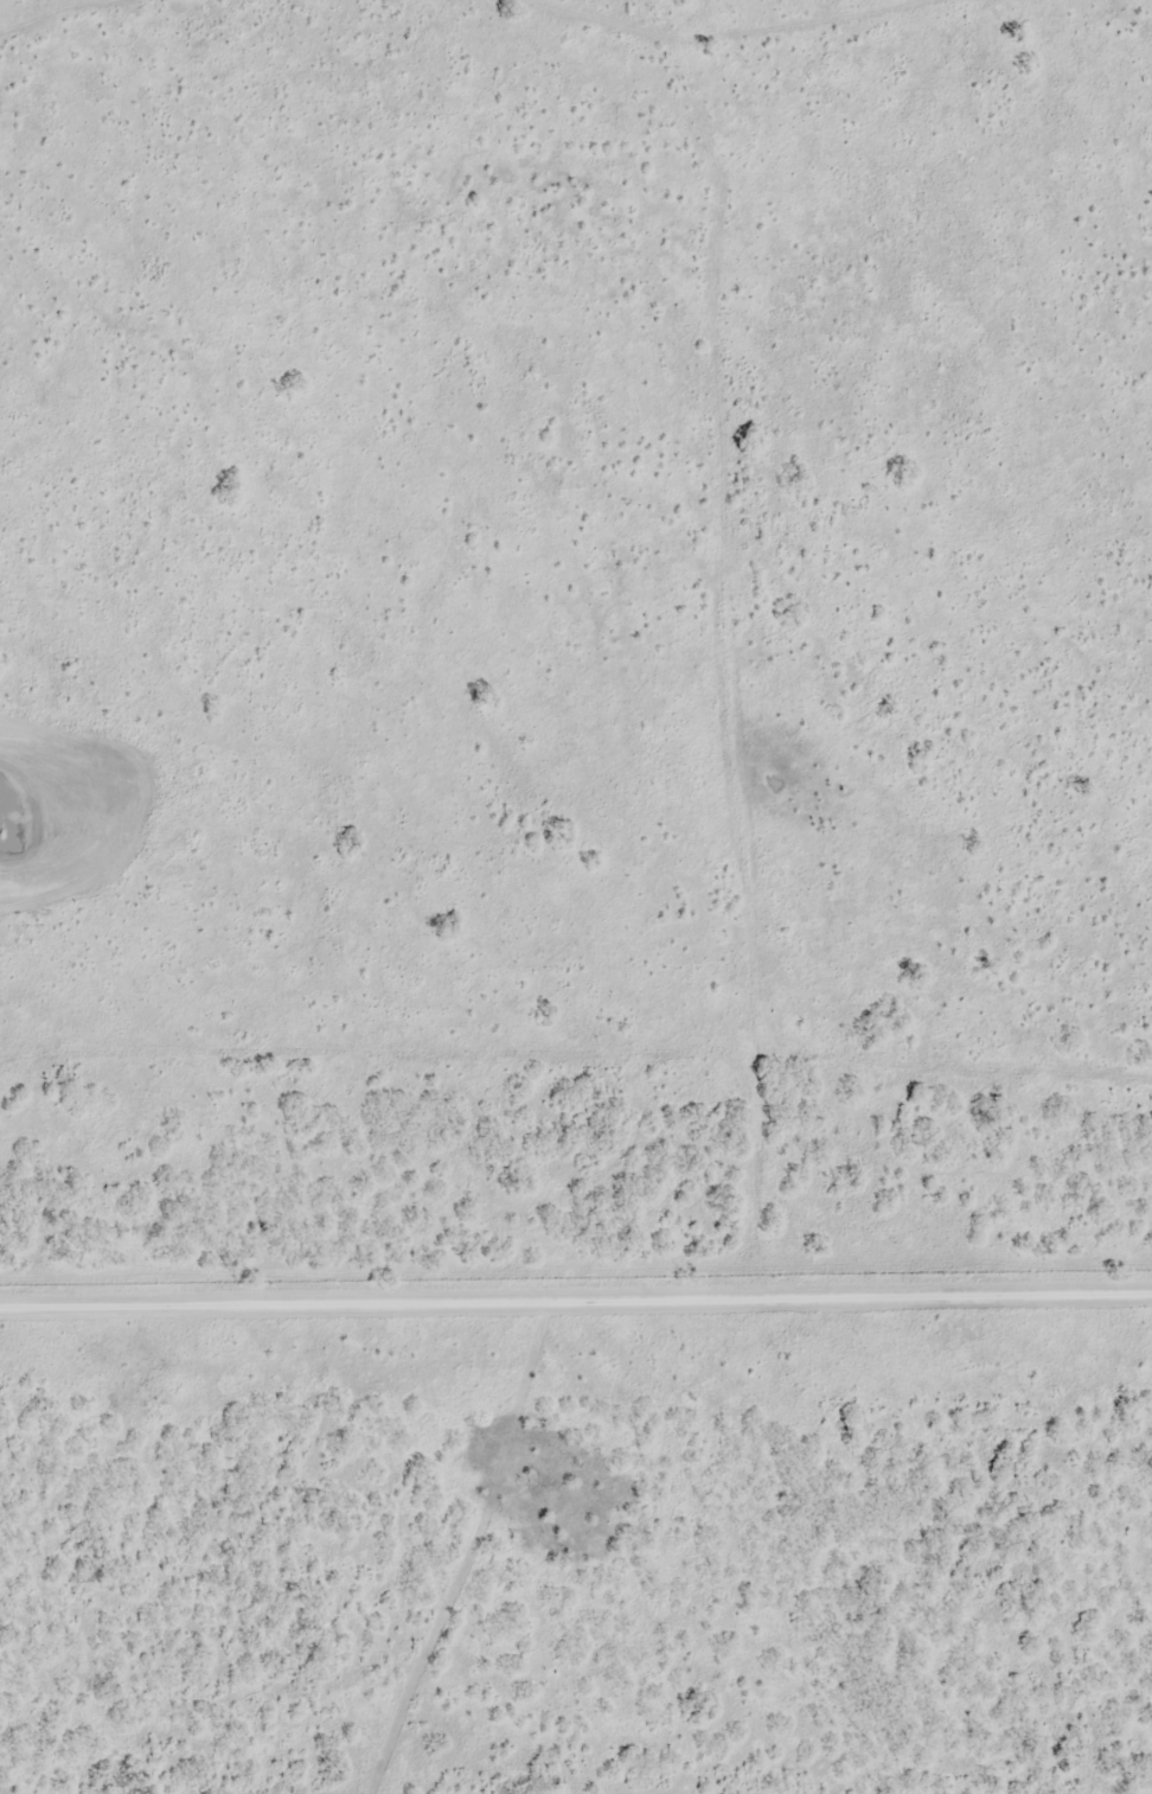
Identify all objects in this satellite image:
road: (652, 37)
road: (724, 665)
road: (576, 1289)

